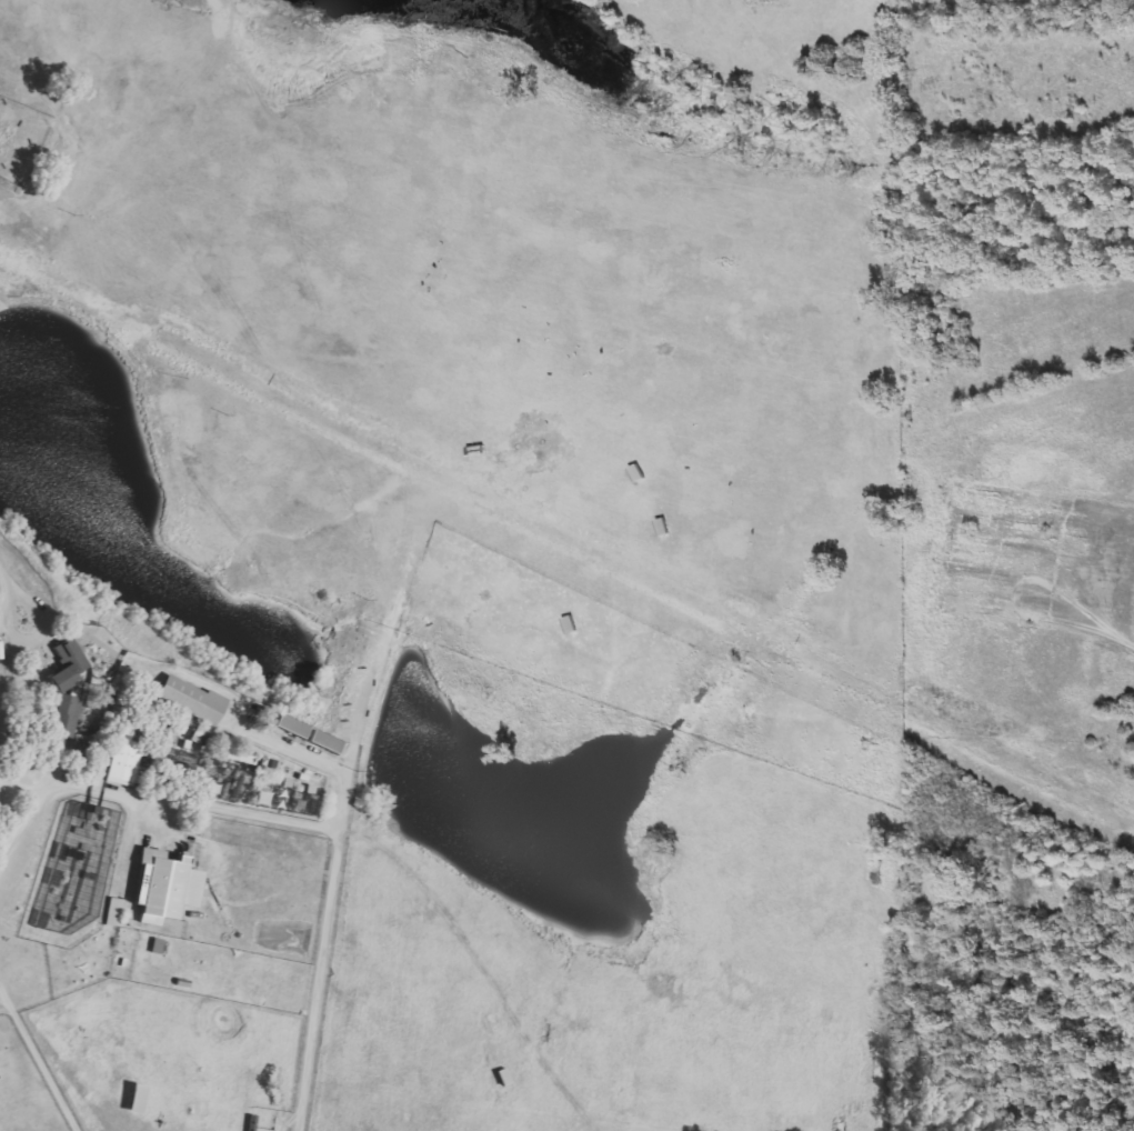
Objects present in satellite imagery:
road: (7, 578)
road: (32, 641)
building: (63, 664)
building: (190, 701)
building: (64, 717)
building: (288, 727)
building: (199, 735)
building: (322, 742)
building: (238, 758)
building: (123, 759)
road: (143, 791)
road: (332, 884)
building: (162, 887)
building: (112, 912)
building: (158, 948)
building: (491, 1021)
building: (503, 1078)
building: (132, 1099)

